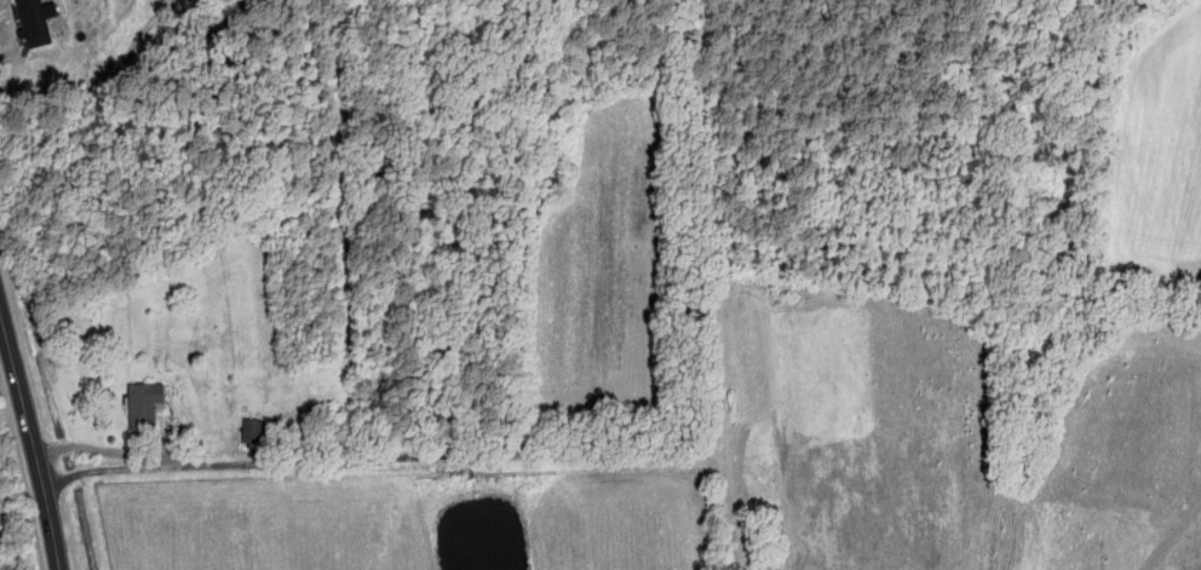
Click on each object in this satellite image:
building: (40, 19)
road: (1015, 93)
building: (140, 404)
building: (251, 431)
road: (31, 437)
crop: (524, 445)
road: (154, 460)

